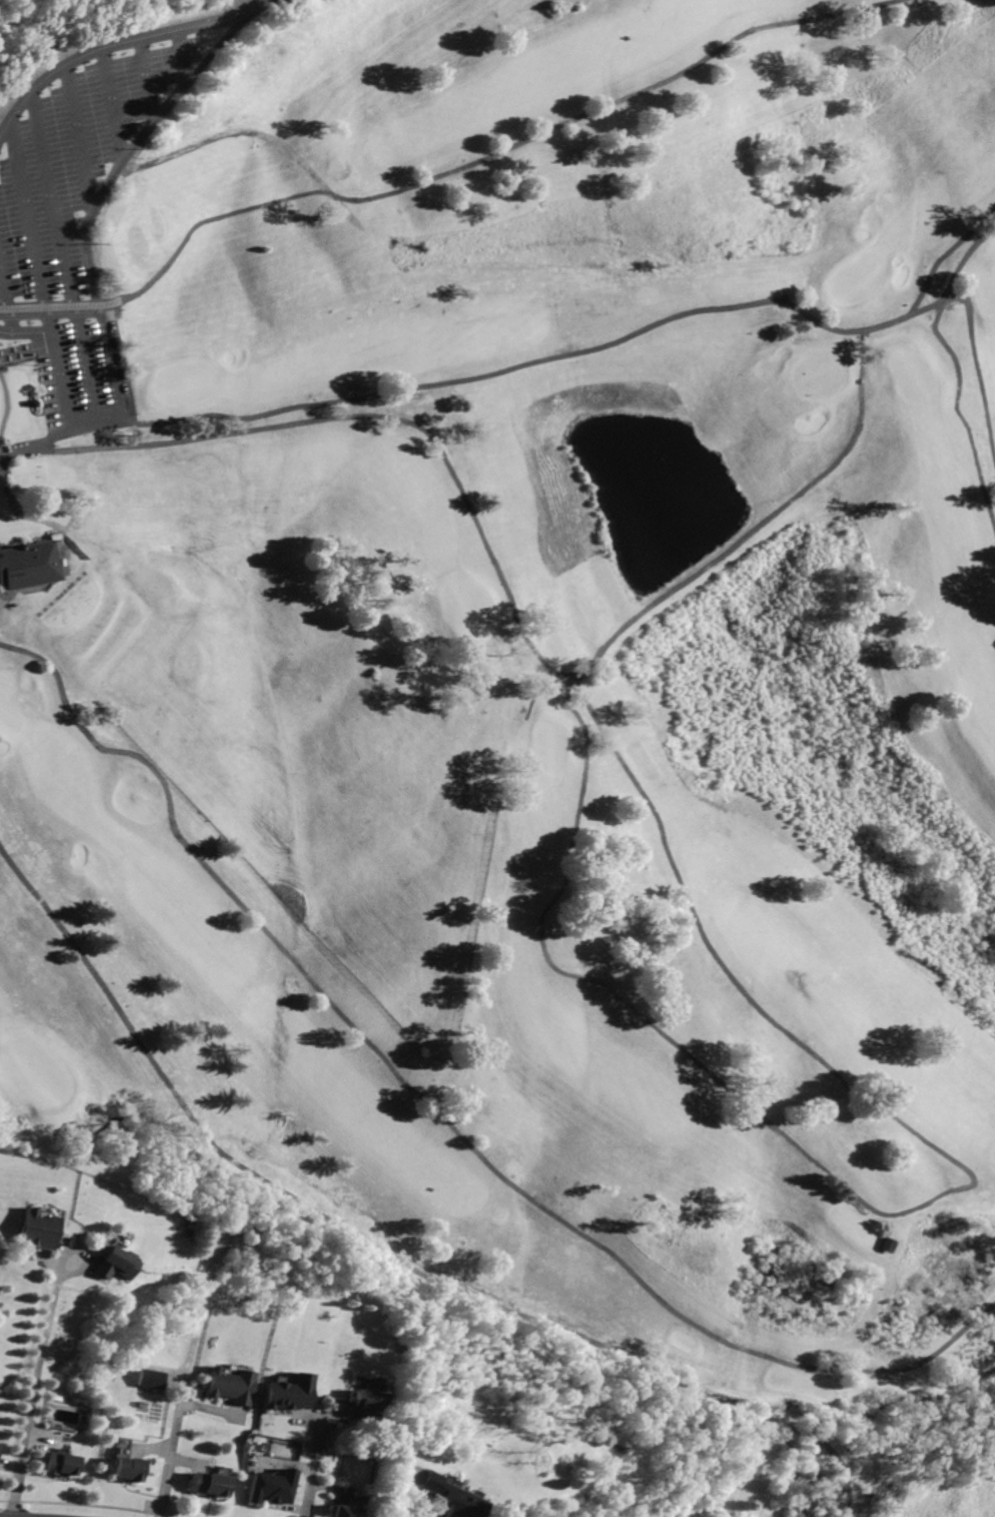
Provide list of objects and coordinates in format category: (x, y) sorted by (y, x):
road: (95, 43)
road: (160, 57)
road: (125, 81)
road: (90, 107)
road: (135, 123)
road: (245, 134)
road: (435, 177)
parking lot: (86, 201)
road: (77, 246)
road: (940, 253)
road: (962, 261)
road: (39, 270)
park: (852, 276)
road: (8, 306)
road: (547, 357)
road: (8, 359)
road: (976, 367)
park: (814, 375)
park: (913, 375)
park: (185, 383)
road: (958, 414)
road: (56, 439)
road: (4, 457)
building: (29, 567)
road: (67, 569)
park: (467, 600)
road: (524, 626)
park: (525, 683)
park: (11, 707)
park: (553, 745)
park: (39, 1070)
road: (438, 1109)
road: (901, 1212)
building: (34, 1230)
building: (889, 1244)
road: (379, 1248)
building: (114, 1261)
road: (47, 1264)
road: (80, 1268)
building: (149, 1377)
road: (183, 1381)
building: (231, 1385)
building: (288, 1392)
road: (33, 1396)
building: (367, 1401)
road: (215, 1410)
road: (332, 1415)
road: (306, 1421)
road: (48, 1435)
road: (147, 1447)
road: (170, 1460)
road: (189, 1461)
road: (282, 1461)
building: (58, 1462)
road: (10, 1464)
building: (125, 1468)
road: (312, 1475)
building: (208, 1482)
road: (406, 1485)
building: (271, 1486)
road: (332, 1488)
building: (451, 1497)
building: (344, 1510)

